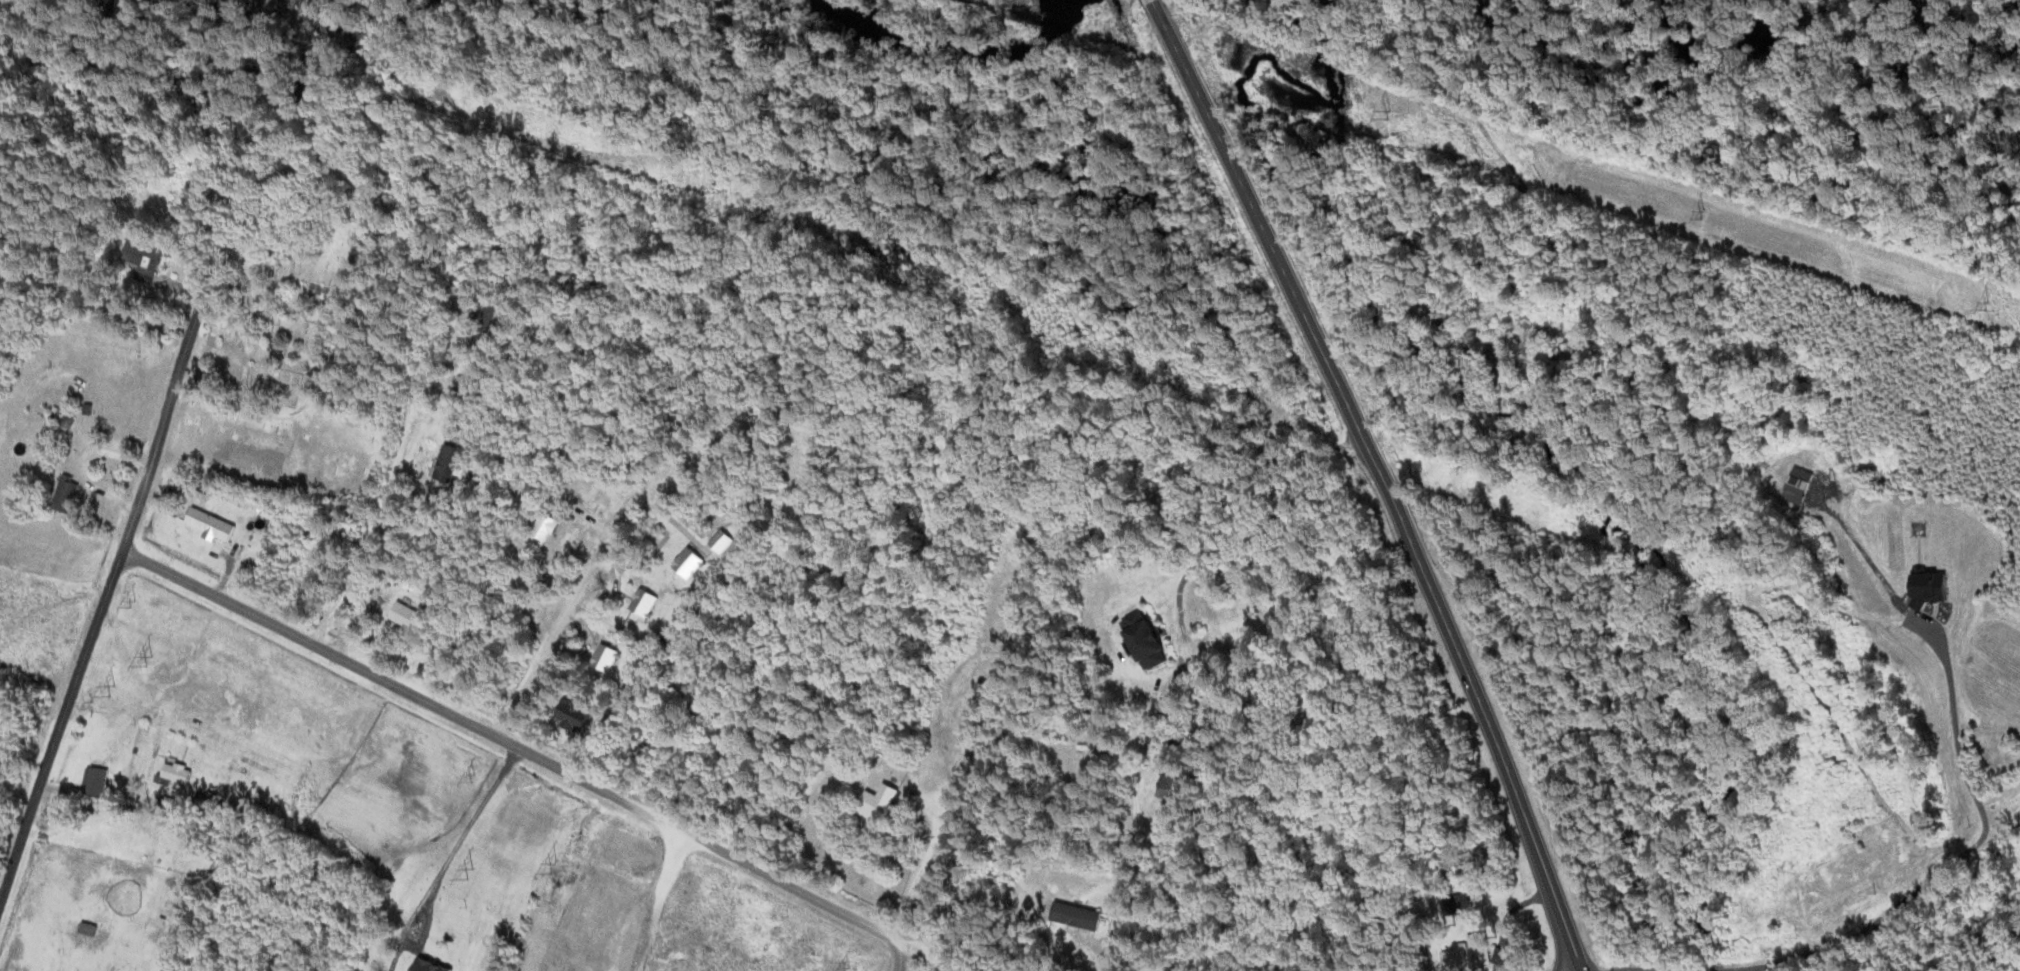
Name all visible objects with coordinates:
power tower: (1405, 117)
power tower: (1703, 213)
building: (146, 260)
power tower: (1984, 304)
building: (450, 464)
road: (1387, 479)
building: (68, 495)
building: (212, 525)
building: (546, 532)
power tower: (134, 599)
road: (100, 610)
building: (411, 617)
building: (1231, 620)
building: (1149, 641)
power tower: (154, 664)
power tower: (116, 691)
building: (577, 717)
building: (178, 772)
power tower: (473, 777)
building: (100, 781)
building: (1175, 788)
road: (1129, 799)
building: (884, 802)
power tower: (559, 872)
power tower: (472, 874)
building: (1073, 947)
building: (1473, 951)
road: (924, 953)
building: (433, 965)
power tower: (847, 967)

